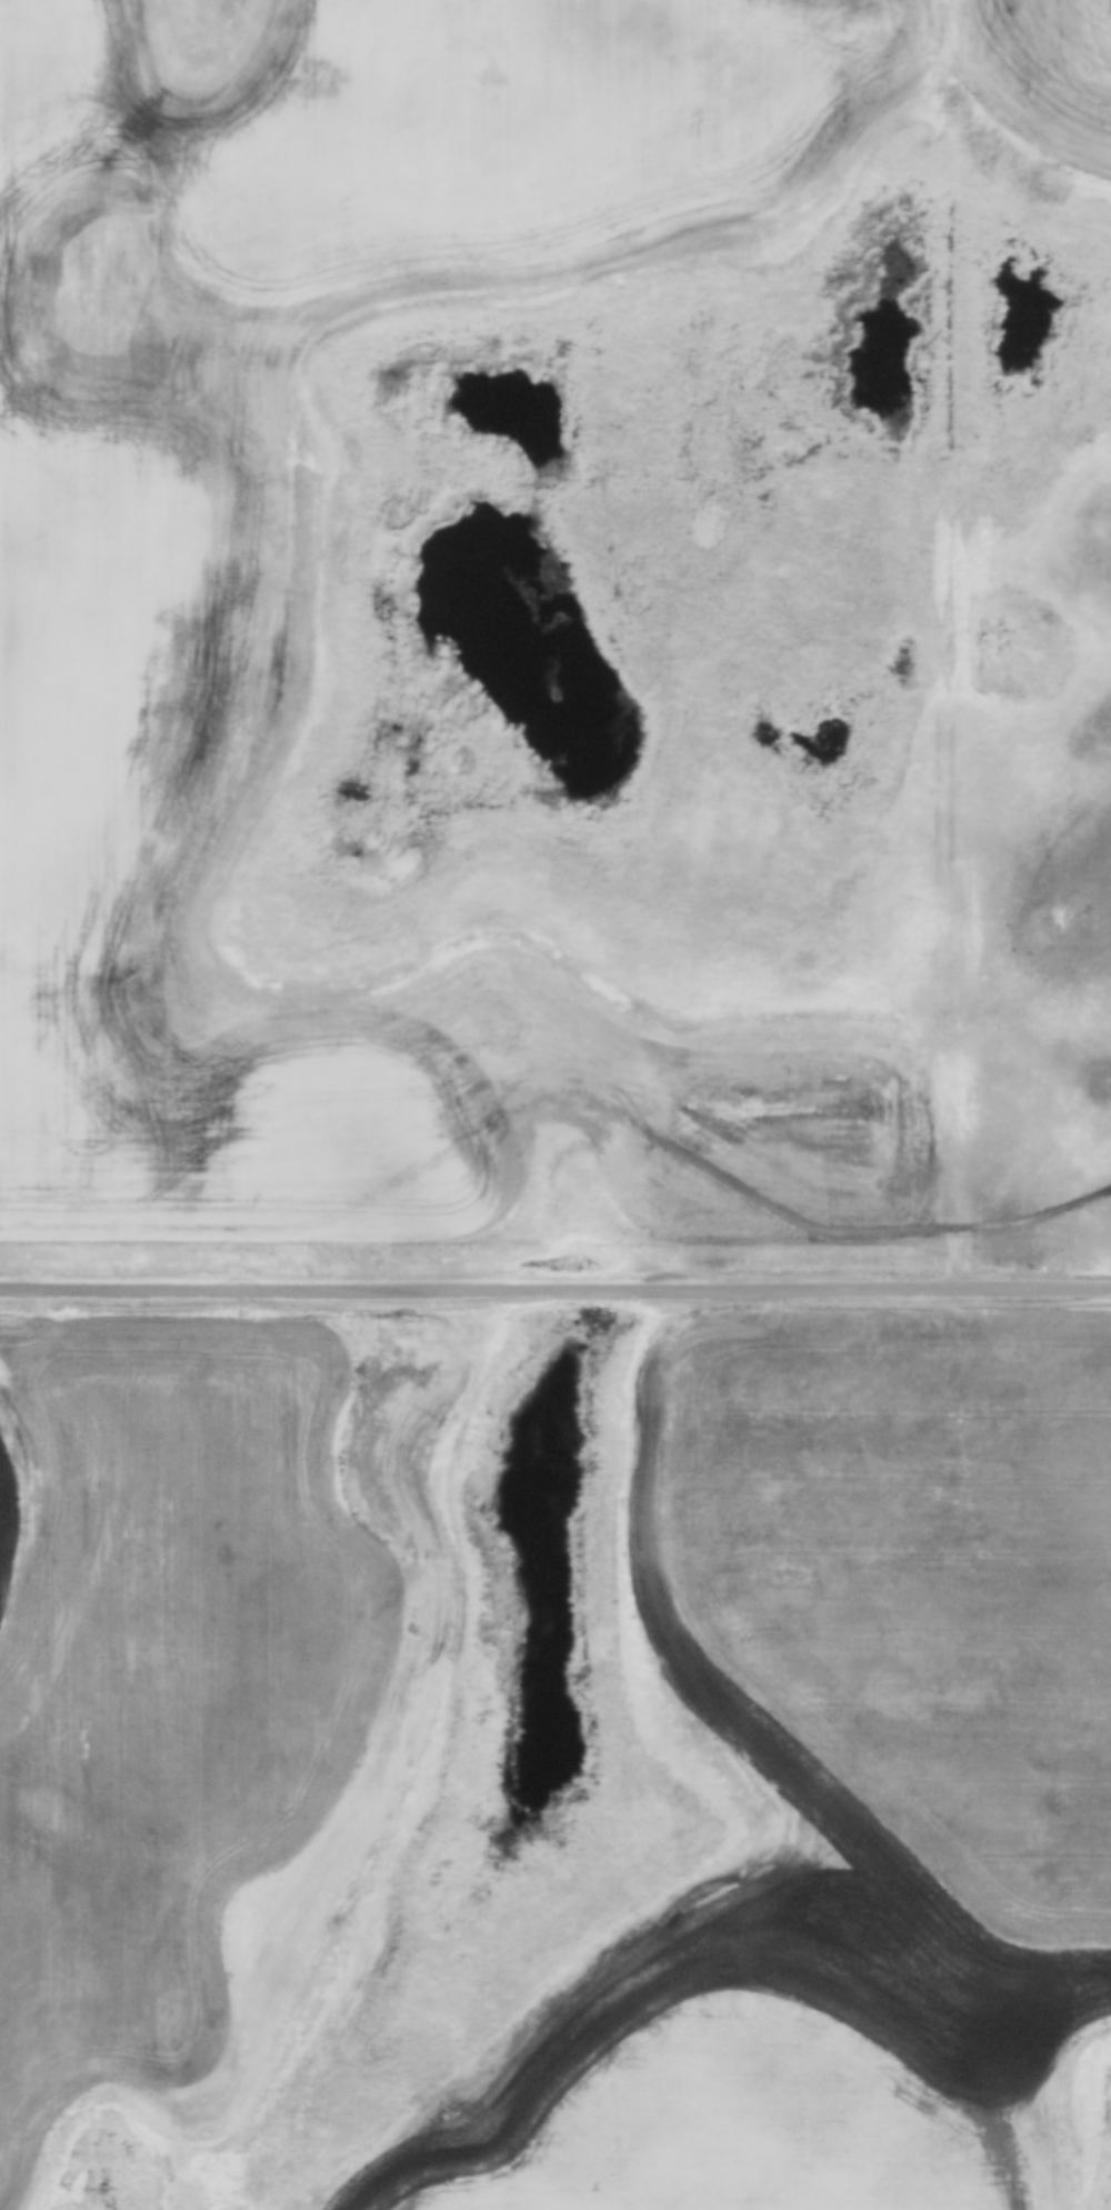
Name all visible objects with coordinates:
road: (555, 1284)

